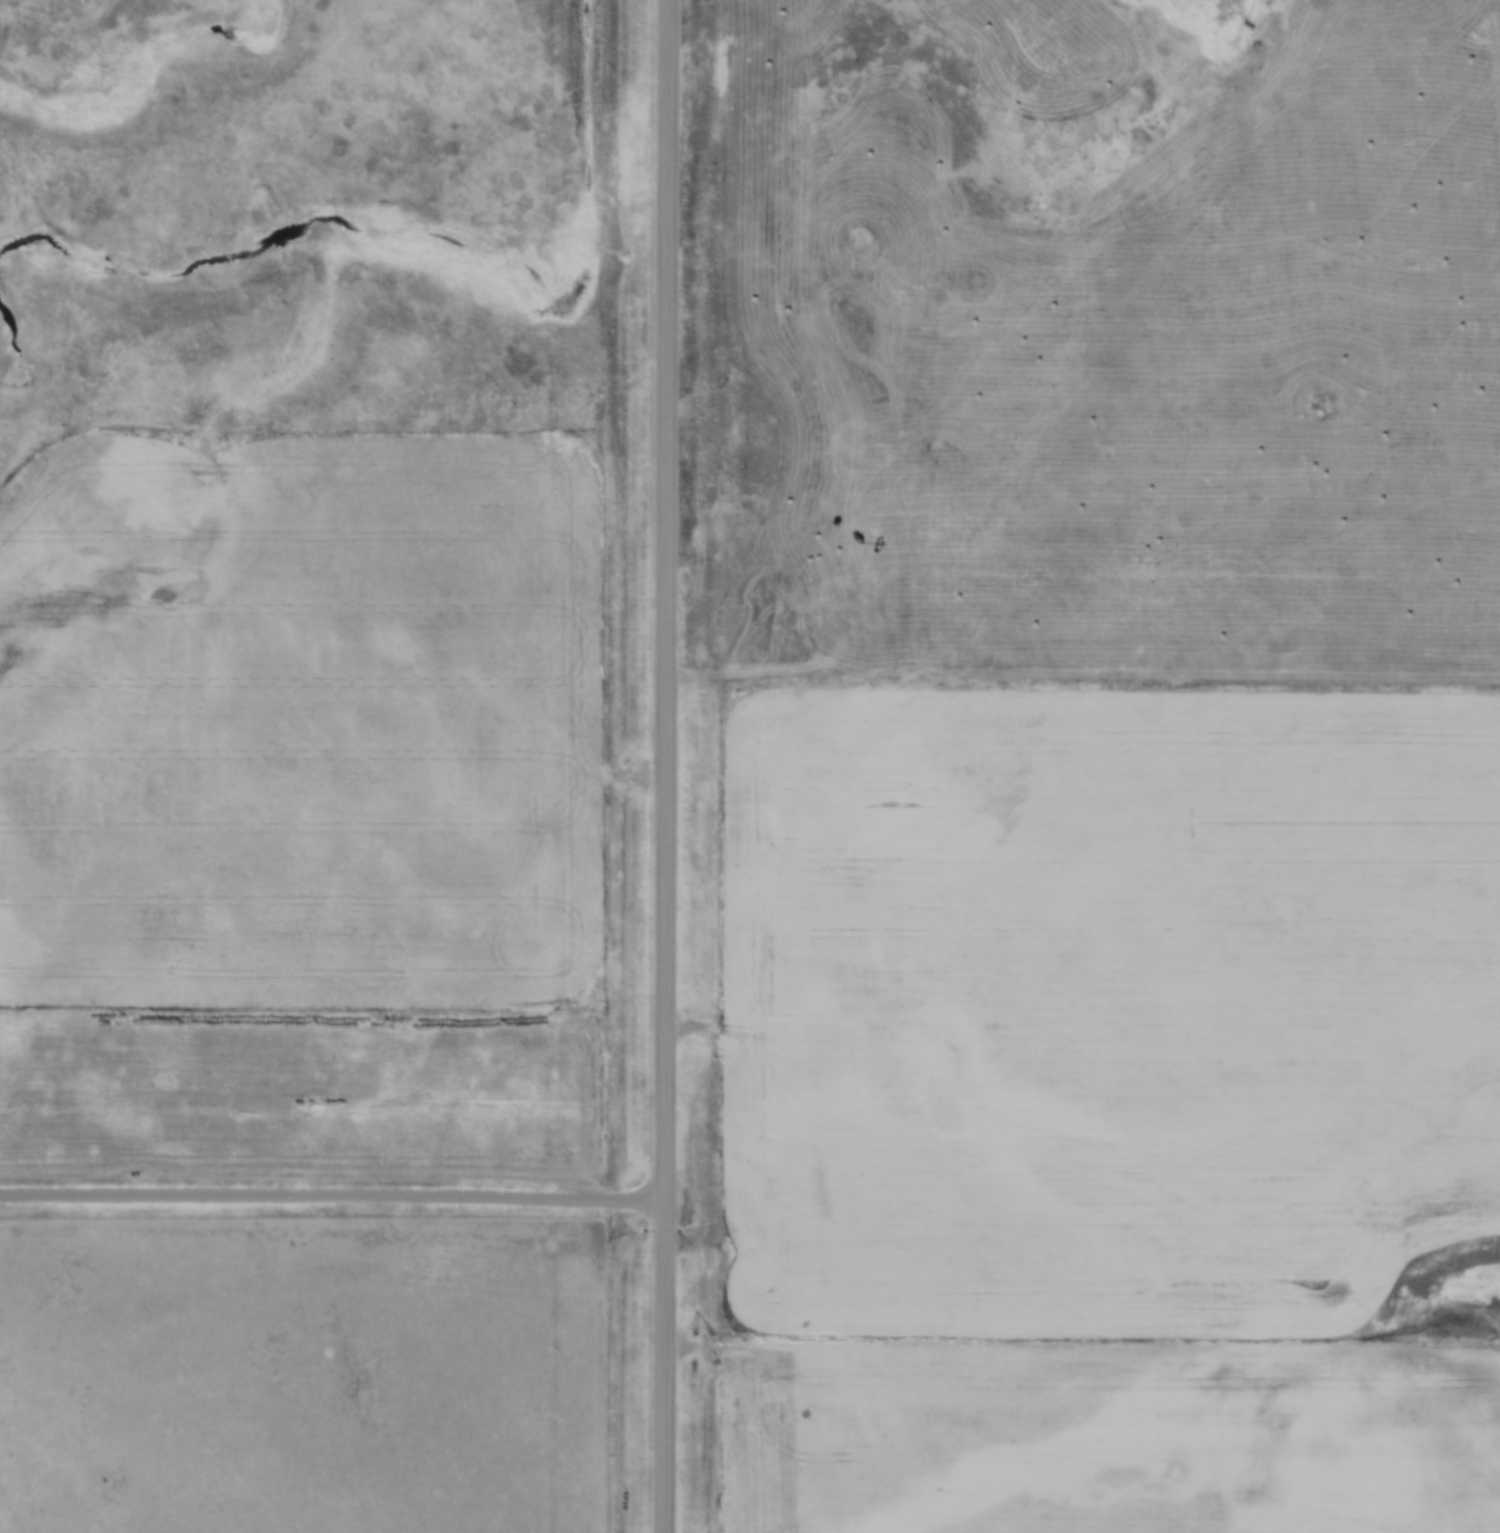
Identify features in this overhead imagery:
road: (671, 766)
road: (335, 1194)

